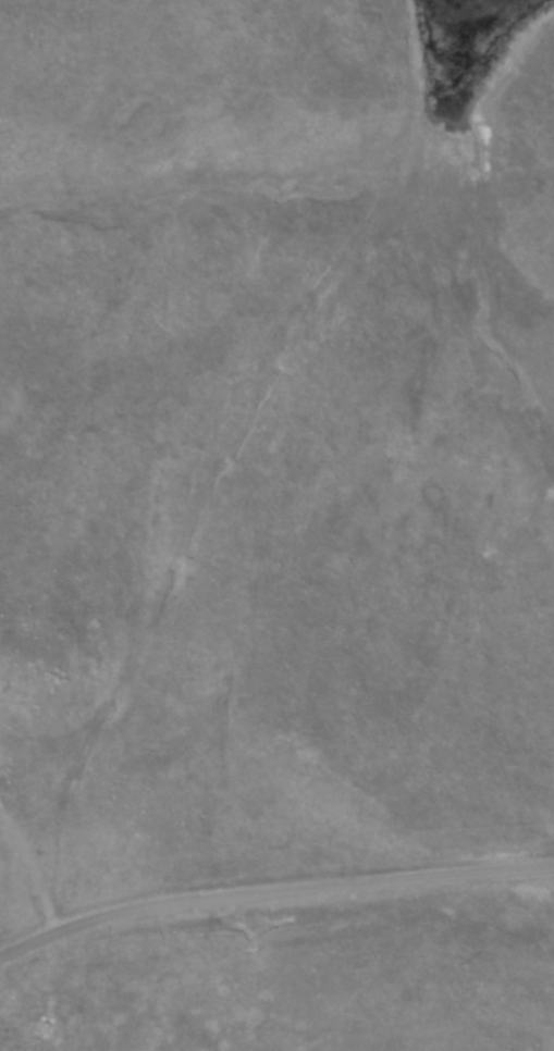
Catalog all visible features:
road: (272, 894)

